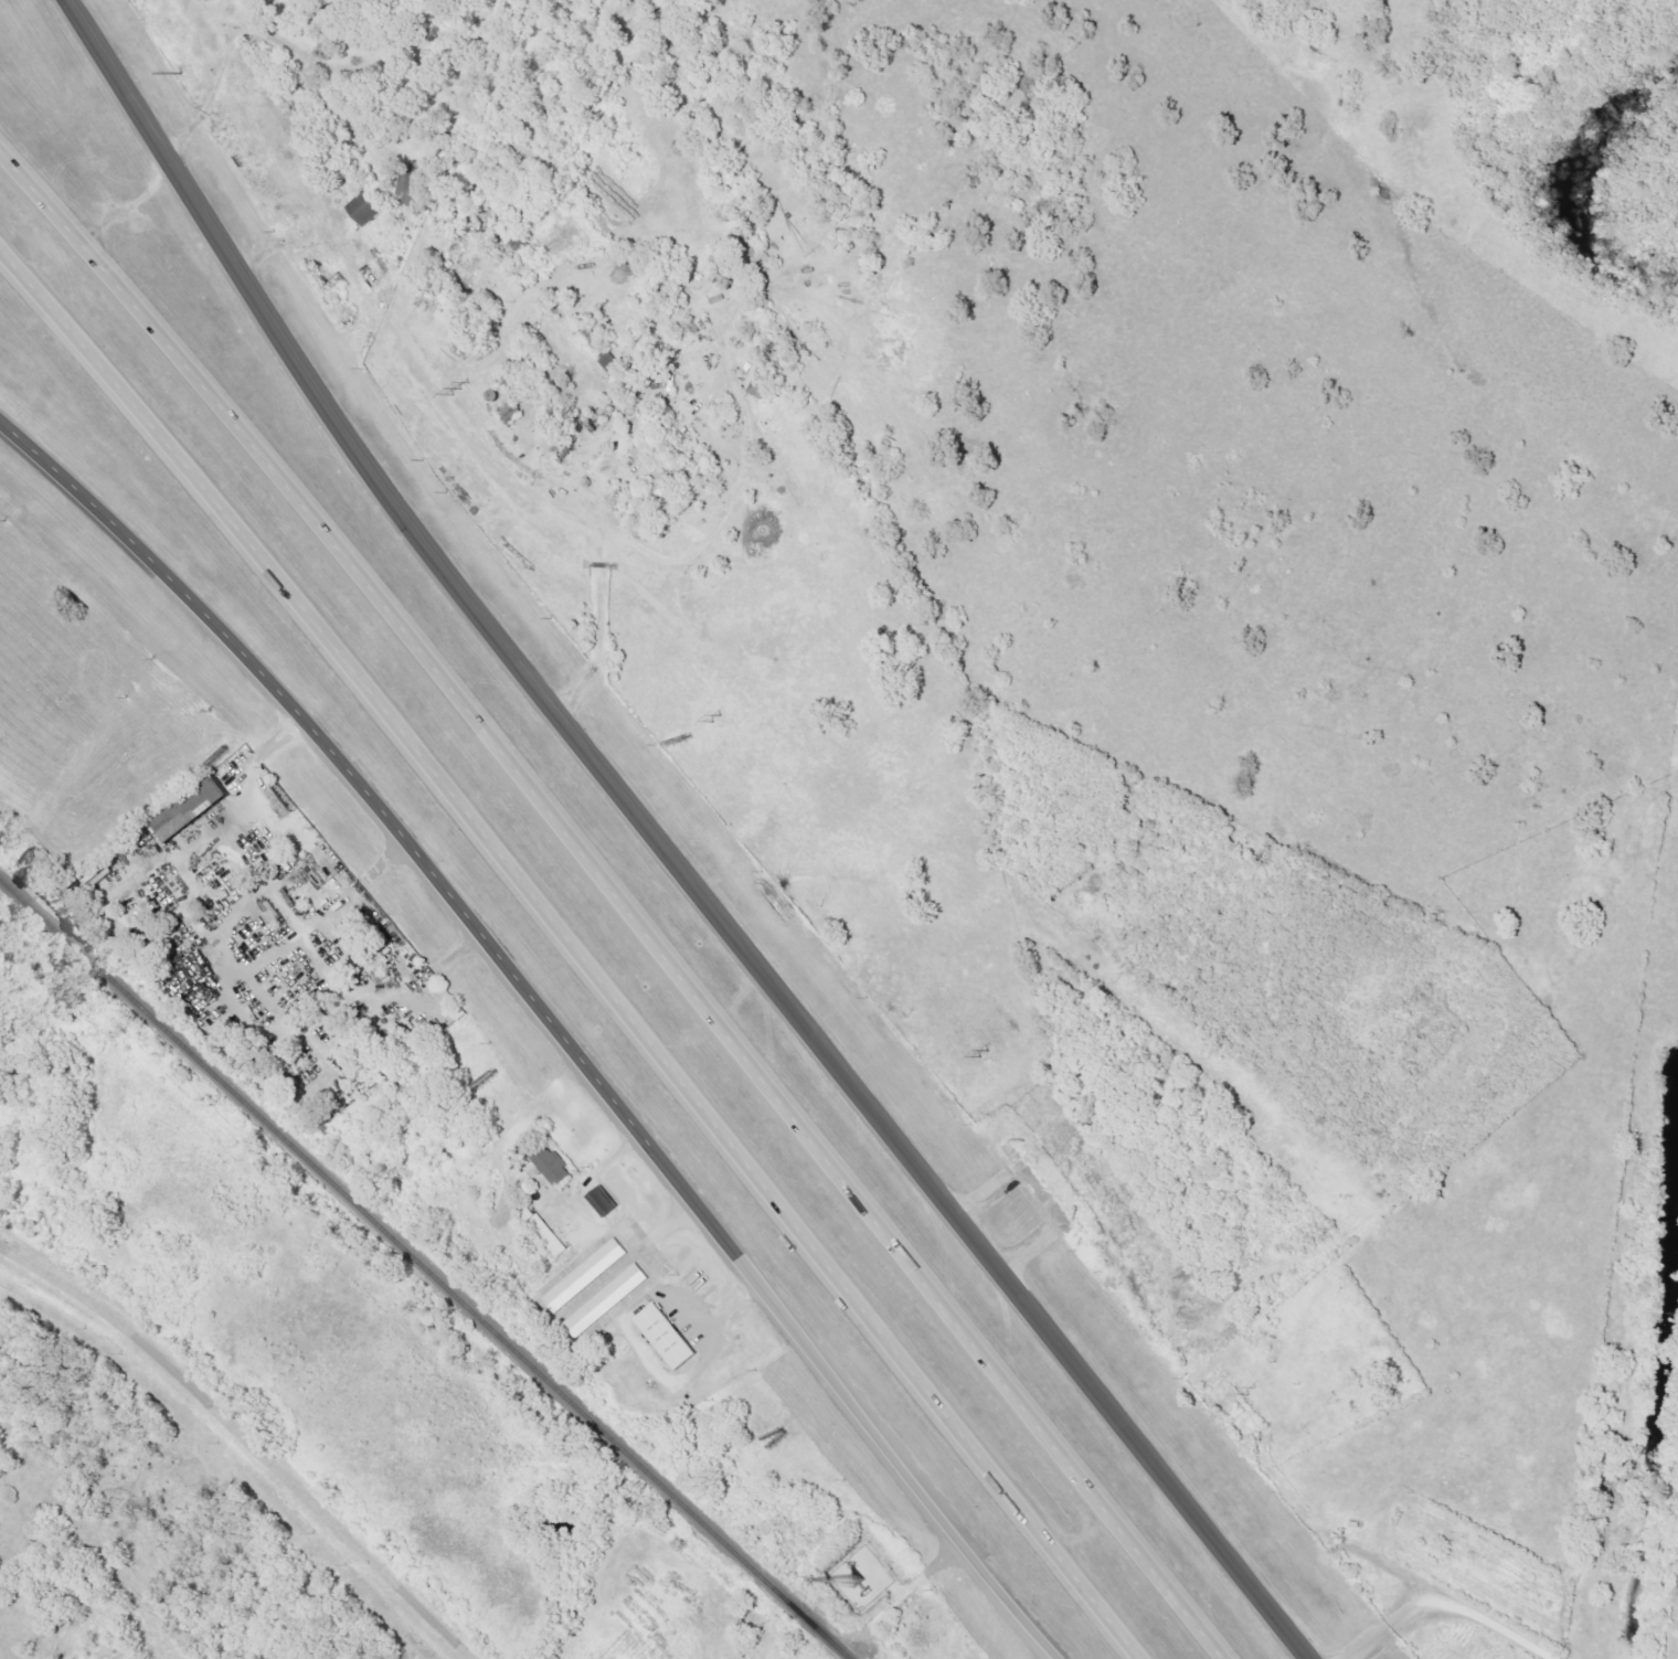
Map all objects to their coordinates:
road: (274, 35)
power tower: (184, 74)
building: (412, 185)
building: (365, 210)
road: (280, 240)
road: (152, 334)
building: (601, 351)
power tower: (459, 389)
building: (511, 414)
building: (657, 472)
road: (701, 542)
road: (599, 628)
power tower: (726, 723)
building: (193, 812)
road: (659, 846)
road: (287, 914)
road: (287, 942)
road: (573, 951)
road: (501, 967)
building: (383, 972)
power tower: (986, 1060)
road: (766, 1083)
building: (553, 1166)
road: (1040, 1193)
building: (604, 1203)
road: (675, 1217)
building: (542, 1232)
road: (655, 1256)
railway: (425, 1268)
building: (586, 1276)
building: (607, 1301)
building: (669, 1338)
power tower: (1251, 1387)
road: (244, 1440)
road: (913, 1586)
road: (1007, 1605)
road: (1446, 1605)
railway: (1672, 1625)

